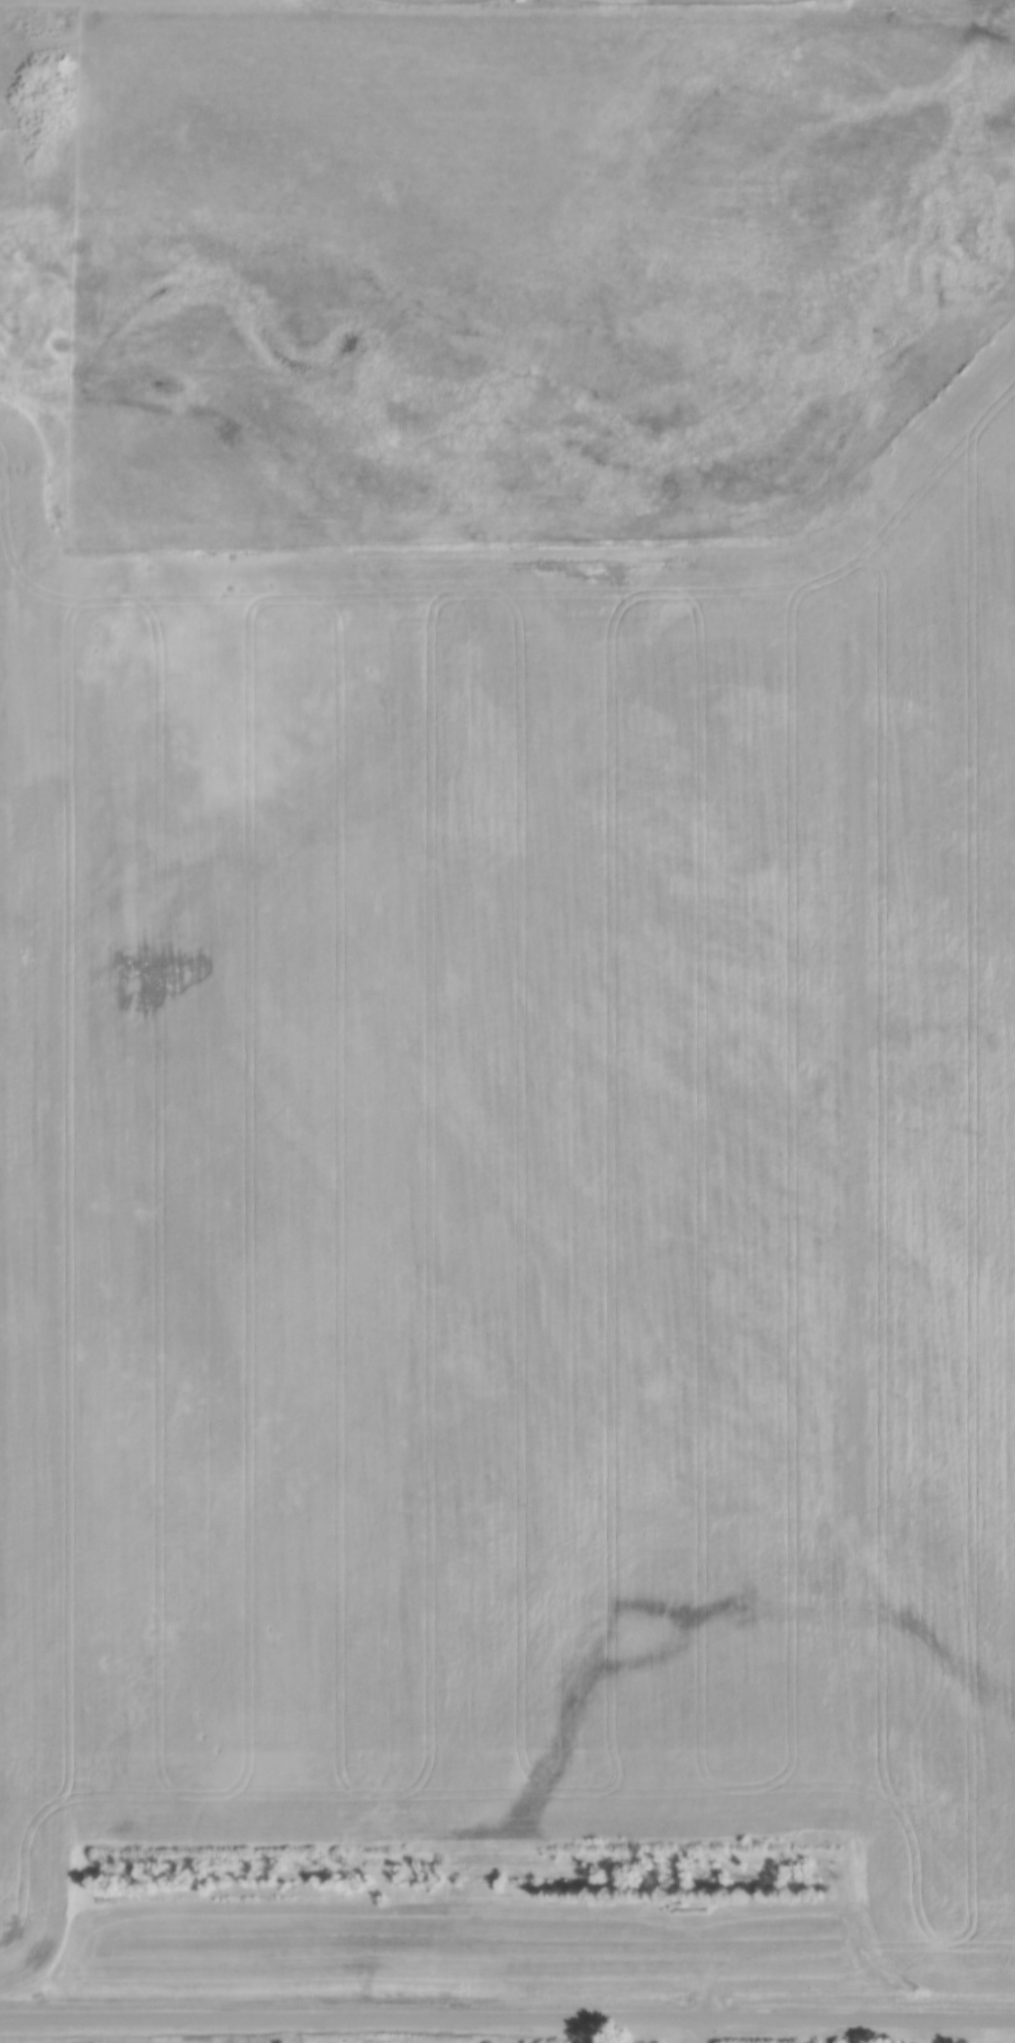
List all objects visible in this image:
road: (507, 2019)
road: (703, 2031)

